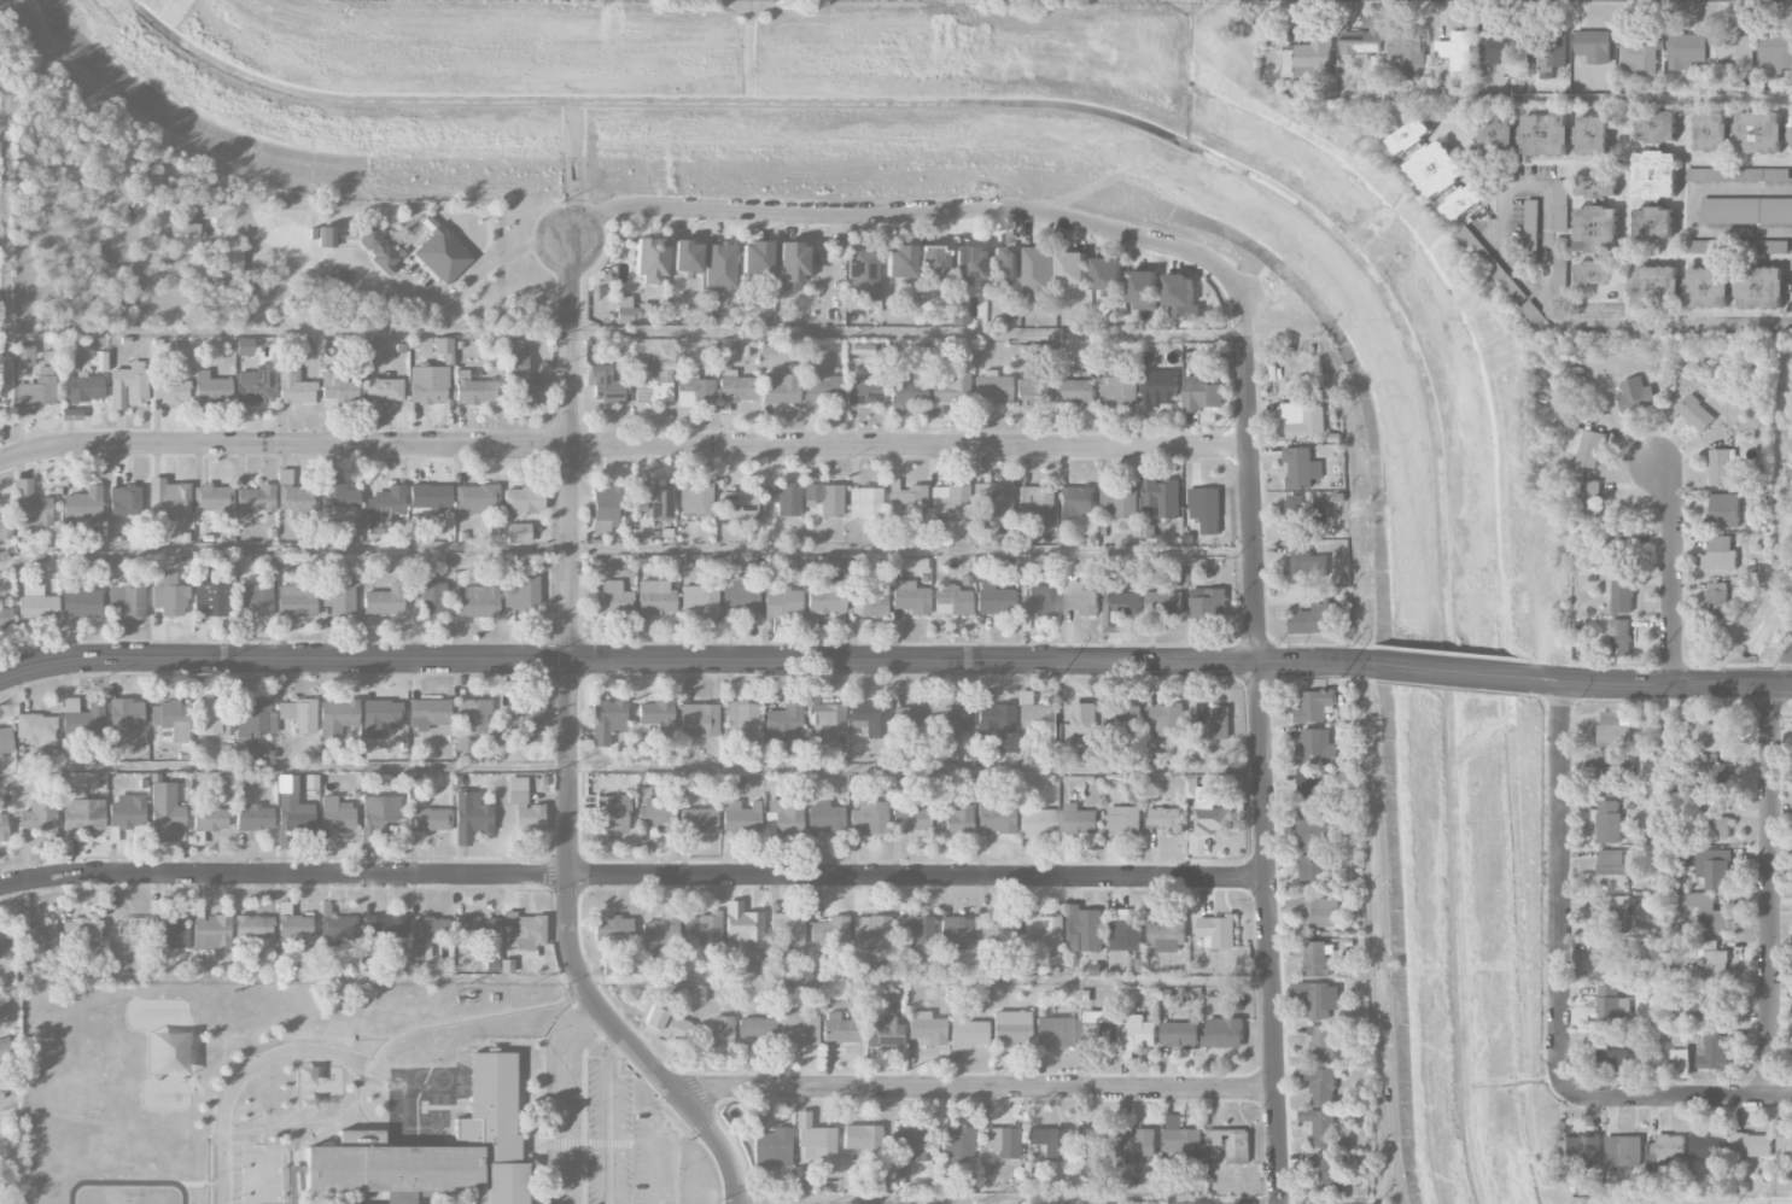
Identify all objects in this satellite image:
building: (1362, 37)
building: (1594, 45)
building: (1499, 48)
building: (1457, 49)
building: (1547, 49)
building: (1687, 49)
building: (1408, 53)
building: (1775, 53)
building: (1311, 57)
building: (1641, 58)
building: (1727, 58)
building: (1740, 131)
building: (1545, 134)
building: (1791, 139)
building: (1440, 168)
building: (1656, 173)
building: (1712, 174)
building: (1782, 174)
road: (1517, 185)
building: (1560, 204)
road: (1693, 208)
road: (916, 209)
building: (1746, 210)
building: (1531, 227)
building: (1597, 227)
building: (326, 236)
building: (377, 250)
building: (442, 255)
building: (687, 256)
building: (755, 258)
building: (649, 259)
building: (899, 261)
building: (932, 263)
building: (967, 263)
building: (1004, 263)
building: (720, 267)
building: (792, 267)
building: (1073, 269)
building: (862, 270)
building: (1039, 270)
building: (1108, 273)
road: (480, 276)
building: (1657, 286)
building: (1709, 287)
building: (1761, 287)
building: (1145, 290)
building: (1181, 294)
building: (629, 310)
building: (959, 315)
road: (1664, 321)
building: (245, 346)
building: (767, 346)
building: (444, 349)
building: (23, 355)
building: (521, 379)
building: (653, 380)
building: (428, 384)
building: (818, 384)
building: (128, 385)
building: (256, 385)
building: (294, 386)
building: (607, 386)
building: (992, 386)
building: (83, 387)
building: (1033, 387)
building: (35, 388)
building: (211, 388)
building: (693, 388)
building: (735, 388)
building: (780, 388)
building: (948, 388)
building: (1160, 388)
building: (338, 390)
building: (474, 390)
building: (1119, 390)
building: (170, 391)
building: (383, 391)
building: (863, 391)
building: (1076, 391)
building: (1201, 392)
building: (904, 394)
building: (1635, 394)
building: (1695, 413)
building: (1304, 417)
road: (572, 444)
road: (621, 445)
building: (1586, 446)
building: (1301, 467)
building: (1724, 467)
building: (294, 493)
building: (1162, 493)
building: (430, 497)
building: (994, 497)
building: (475, 498)
building: (1589, 498)
building: (124, 499)
building: (168, 499)
building: (211, 499)
building: (256, 499)
building: (335, 499)
building: (524, 499)
building: (695, 499)
building: (782, 499)
building: (824, 499)
building: (1120, 499)
building: (654, 501)
building: (950, 501)
building: (905, 502)
building: (865, 503)
building: (1075, 503)
building: (606, 504)
building: (31, 505)
building: (384, 505)
building: (737, 505)
building: (83, 507)
building: (1207, 508)
building: (1724, 509)
building: (1304, 513)
building: (2, 527)
building: (518, 533)
building: (1617, 551)
building: (1720, 554)
building: (1307, 562)
road: (1669, 572)
building: (339, 592)
building: (1619, 592)
building: (427, 594)
building: (521, 594)
building: (168, 595)
building: (210, 596)
building: (740, 596)
building: (825, 596)
building: (910, 597)
building: (255, 598)
building: (612, 598)
building: (654, 598)
building: (993, 598)
building: (1080, 598)
building: (127, 600)
building: (1717, 600)
building: (296, 601)
building: (384, 601)
building: (477, 601)
building: (699, 601)
building: (952, 601)
building: (869, 602)
building: (1039, 602)
building: (1164, 602)
building: (1209, 602)
building: (36, 603)
building: (81, 603)
building: (782, 603)
building: (1120, 607)
building: (1315, 614)
building: (5, 618)
building: (1619, 635)
road: (284, 659)
road: (976, 661)
power tower: (1651, 665)
road: (1449, 670)
road: (1790, 670)
power tower: (191, 674)
power tower: (501, 676)
power tower: (761, 677)
power tower: (1058, 677)
power tower: (1342, 677)
road: (1654, 684)
building: (1315, 705)
building: (126, 713)
building: (427, 713)
building: (654, 713)
building: (298, 715)
building: (472, 715)
building: (823, 715)
building: (209, 717)
building: (252, 717)
building: (337, 717)
building: (1084, 717)
building: (1121, 717)
building: (82, 718)
building: (379, 718)
building: (170, 719)
building: (870, 719)
building: (1035, 719)
building: (1164, 719)
building: (606, 720)
building: (697, 720)
building: (953, 720)
building: (1213, 720)
building: (524, 721)
building: (909, 721)
building: (996, 725)
building: (35, 729)
building: (1612, 729)
building: (782, 731)
building: (1708, 731)
building: (5, 741)
building: (463, 742)
building: (243, 747)
building: (1318, 748)
road: (1259, 749)
building: (261, 754)
road: (915, 767)
building: (1609, 773)
building: (1712, 777)
building: (1320, 785)
building: (292, 806)
building: (524, 806)
building: (1207, 808)
building: (165, 811)
building: (82, 812)
building: (127, 812)
building: (472, 812)
building: (380, 813)
building: (612, 813)
building: (654, 813)
building: (335, 814)
building: (39, 816)
building: (994, 816)
building: (740, 817)
building: (825, 817)
building: (253, 818)
building: (783, 818)
building: (868, 818)
building: (428, 819)
building: (910, 819)
building: (1079, 819)
building: (1166, 819)
building: (697, 820)
building: (956, 820)
building: (1122, 820)
building: (1607, 820)
building: (1035, 823)
building: (1717, 826)
building: (2, 829)
building: (1315, 831)
building: (1613, 866)
building: (1712, 867)
building: (1317, 871)
road: (632, 873)
road: (1558, 888)
road: (1769, 892)
building: (1321, 911)
building: (1706, 912)
building: (1613, 913)
building: (335, 924)
building: (126, 927)
building: (252, 927)
building: (383, 928)
building: (473, 928)
building: (612, 928)
building: (704, 928)
building: (742, 928)
building: (1082, 928)
building: (292, 929)
building: (660, 929)
building: (1039, 929)
building: (169, 930)
building: (786, 930)
building: (999, 930)
building: (1218, 930)
building: (524, 931)
building: (870, 931)
building: (80, 933)
building: (915, 933)
building: (956, 933)
building: (211, 934)
building: (829, 934)
building: (1125, 935)
building: (424, 936)
building: (1166, 936)
building: (39, 939)
building: (6, 947)
building: (1318, 958)
road: (574, 959)
building: (1712, 959)
building: (1609, 960)
road: (634, 977)
building: (1321, 999)
building: (1611, 1005)
building: (1705, 1005)
building: (665, 1022)
building: (1096, 1024)
building: (1010, 1027)
building: (798, 1028)
building: (924, 1028)
building: (840, 1029)
building: (714, 1031)
building: (1053, 1031)
building: (755, 1033)
building: (885, 1033)
building: (1137, 1033)
building: (1179, 1033)
building: (1224, 1033)
building: (968, 1034)
building: (1324, 1044)
building: (5, 1051)
building: (1712, 1051)
building: (1609, 1053)
building: (1323, 1085)
road: (975, 1088)
road: (558, 1098)
road: (1679, 1098)
road: (10, 1099)
road: (606, 1118)
building: (1321, 1126)
building: (367, 1127)
building: (815, 1138)
building: (1181, 1139)
building: (1002, 1141)
building: (1049, 1141)
building: (952, 1142)
building: (1091, 1142)
building: (1232, 1142)
building: (864, 1144)
building: (1138, 1144)
building: (1709, 1144)
building: (1751, 1144)
building: (906, 1145)
building: (1671, 1145)
building: (772, 1147)
building: (1784, 1147)
building: (1582, 1150)
building: (1624, 1150)
road: (654, 1161)
building: (1330, 1171)
road: (879, 1203)

